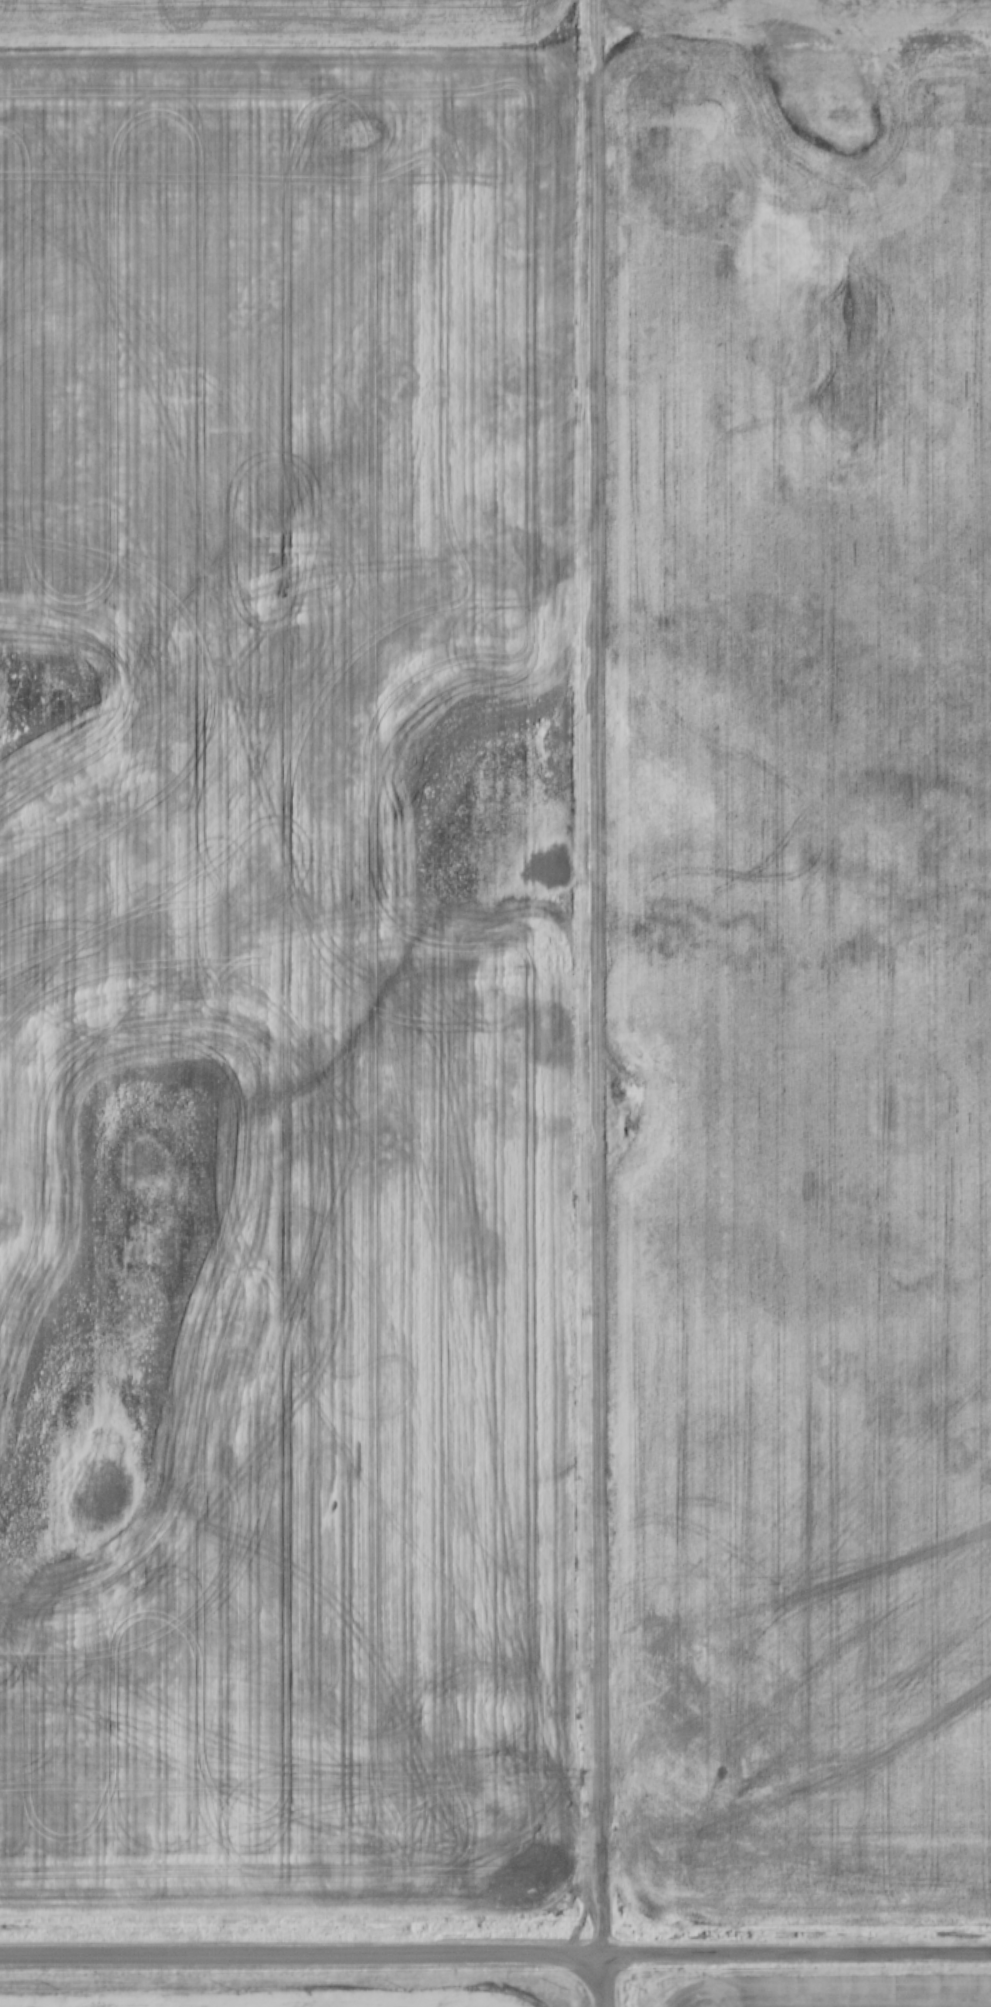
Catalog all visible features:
road: (797, 1955)
road: (302, 1956)
road: (603, 1981)

